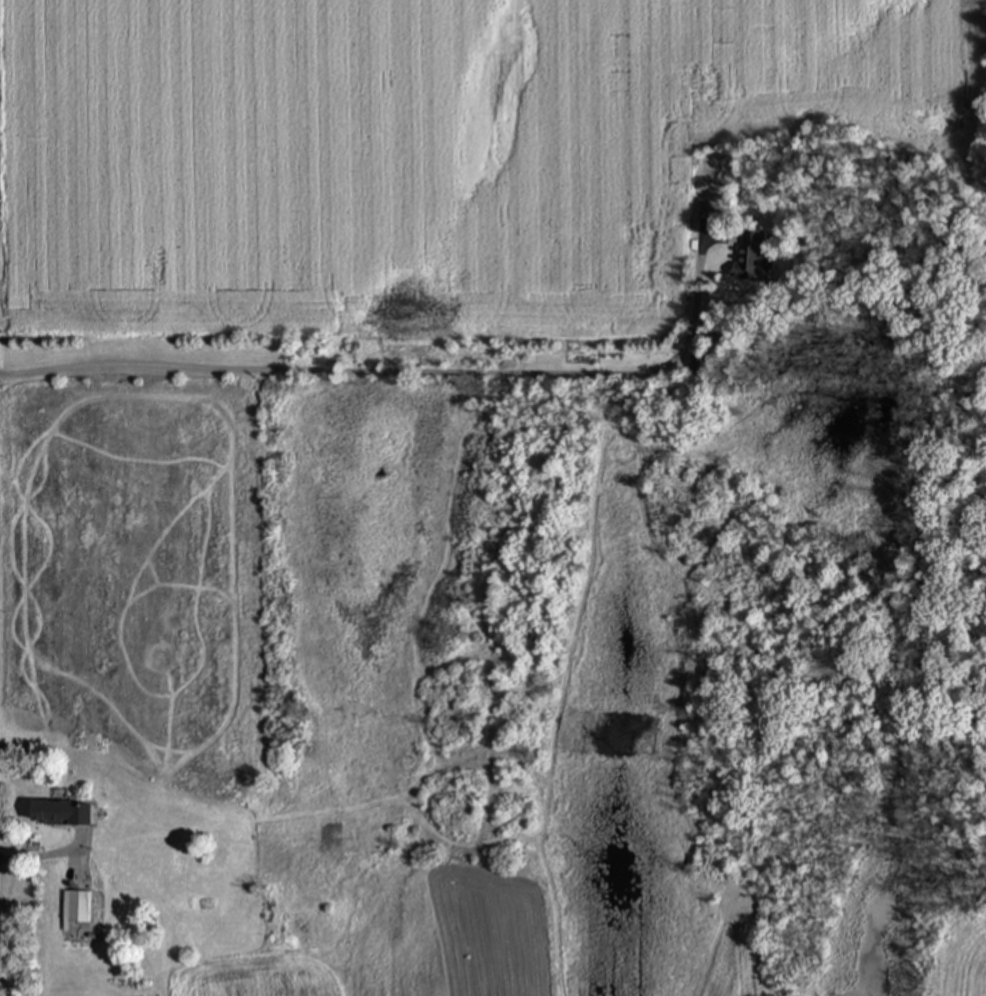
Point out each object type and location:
building: (750, 258)
building: (699, 365)
road: (398, 370)
building: (60, 816)
road: (48, 856)
building: (79, 909)

